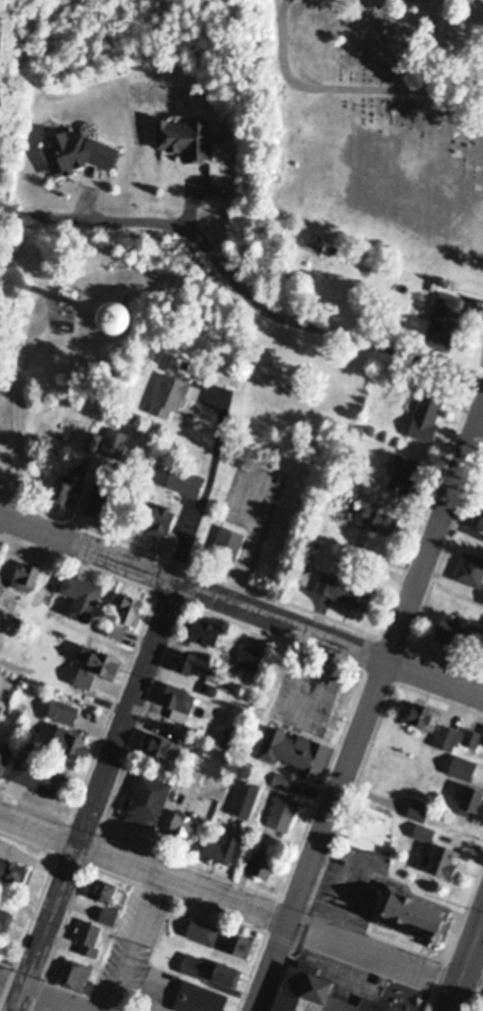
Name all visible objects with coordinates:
road: (463, 1)
road: (344, 86)
park: (381, 120)
building: (185, 140)
road: (96, 213)
building: (343, 249)
building: (66, 294)
building: (443, 316)
water tower: (117, 318)
building: (155, 323)
road: (298, 323)
building: (174, 359)
building: (168, 390)
road: (481, 396)
road: (481, 405)
building: (426, 409)
building: (102, 410)
building: (359, 427)
building: (92, 437)
building: (114, 437)
building: (403, 472)
building: (185, 475)
building: (64, 483)
road: (203, 487)
building: (100, 492)
building: (479, 512)
building: (161, 513)
building: (380, 518)
building: (482, 528)
road: (433, 532)
road: (247, 538)
building: (226, 540)
building: (313, 541)
building: (470, 566)
building: (24, 573)
road: (193, 584)
building: (344, 585)
building: (1, 589)
building: (80, 592)
building: (482, 597)
building: (124, 611)
building: (203, 623)
building: (457, 626)
building: (250, 653)
building: (193, 657)
building: (94, 662)
road: (435, 677)
building: (209, 682)
building: (178, 696)
building: (0, 705)
building: (62, 709)
road: (128, 712)
building: (423, 712)
building: (229, 731)
building: (446, 734)
building: (471, 736)
building: (186, 737)
building: (233, 737)
building: (68, 741)
building: (482, 741)
building: (160, 742)
building: (29, 743)
building: (294, 746)
building: (4, 750)
building: (462, 765)
building: (35, 773)
building: (396, 775)
building: (280, 778)
building: (147, 796)
building: (470, 796)
building: (418, 807)
building: (282, 809)
building: (183, 820)
building: (423, 830)
road: (319, 834)
building: (220, 845)
building: (440, 858)
building: (262, 862)
building: (13, 866)
building: (101, 886)
road: (228, 901)
building: (412, 910)
building: (108, 914)
building: (5, 916)
road: (45, 927)
building: (202, 929)
building: (87, 936)
road: (126, 942)
building: (236, 942)
building: (191, 963)
road: (465, 966)
building: (225, 970)
building: (78, 975)
building: (319, 992)
building: (199, 997)
road: (54, 1000)

